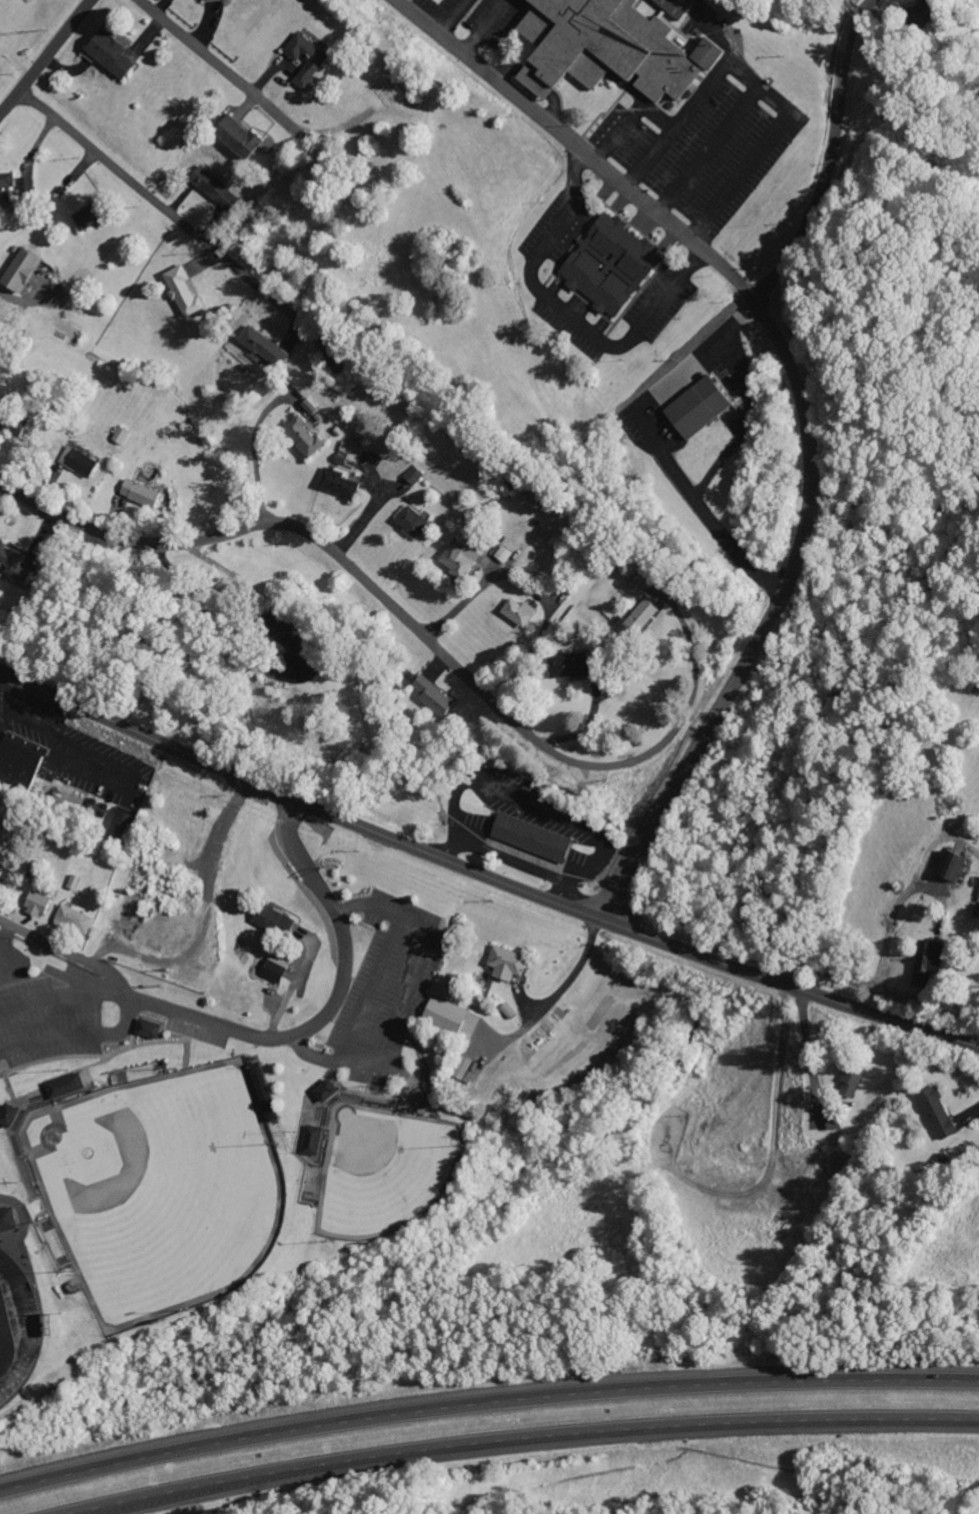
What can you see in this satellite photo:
building: (209, 0)
building: (672, 6)
building: (603, 45)
building: (116, 55)
road: (45, 56)
building: (310, 60)
road: (214, 64)
building: (246, 138)
road: (831, 159)
building: (213, 184)
building: (33, 185)
building: (95, 217)
road: (184, 223)
building: (609, 264)
building: (29, 269)
building: (181, 291)
building: (261, 346)
road: (796, 396)
building: (308, 406)
building: (697, 407)
building: (301, 436)
road: (255, 456)
building: (86, 463)
building: (411, 475)
building: (339, 484)
building: (140, 493)
building: (408, 521)
building: (455, 557)
building: (17, 563)
building: (639, 582)
road: (382, 600)
building: (516, 612)
building: (637, 619)
building: (279, 634)
building: (567, 665)
building: (428, 692)
building: (22, 761)
building: (530, 837)
building: (948, 866)
building: (3, 868)
road: (484, 874)
building: (978, 896)
building: (42, 904)
building: (77, 919)
building: (271, 920)
road: (21, 932)
building: (925, 962)
building: (503, 964)
building: (273, 968)
road: (368, 986)
road: (404, 993)
building: (443, 1016)
building: (151, 1029)
road: (75, 1036)
road: (281, 1037)
road: (388, 1063)
building: (66, 1086)
building: (322, 1090)
building: (929, 1114)
building: (11, 1115)
building: (831, 1123)
building: (310, 1140)
park: (382, 1168)
park: (159, 1185)
building: (10, 1220)
track: (19, 1322)
road: (485, 1402)
road: (528, 1441)

